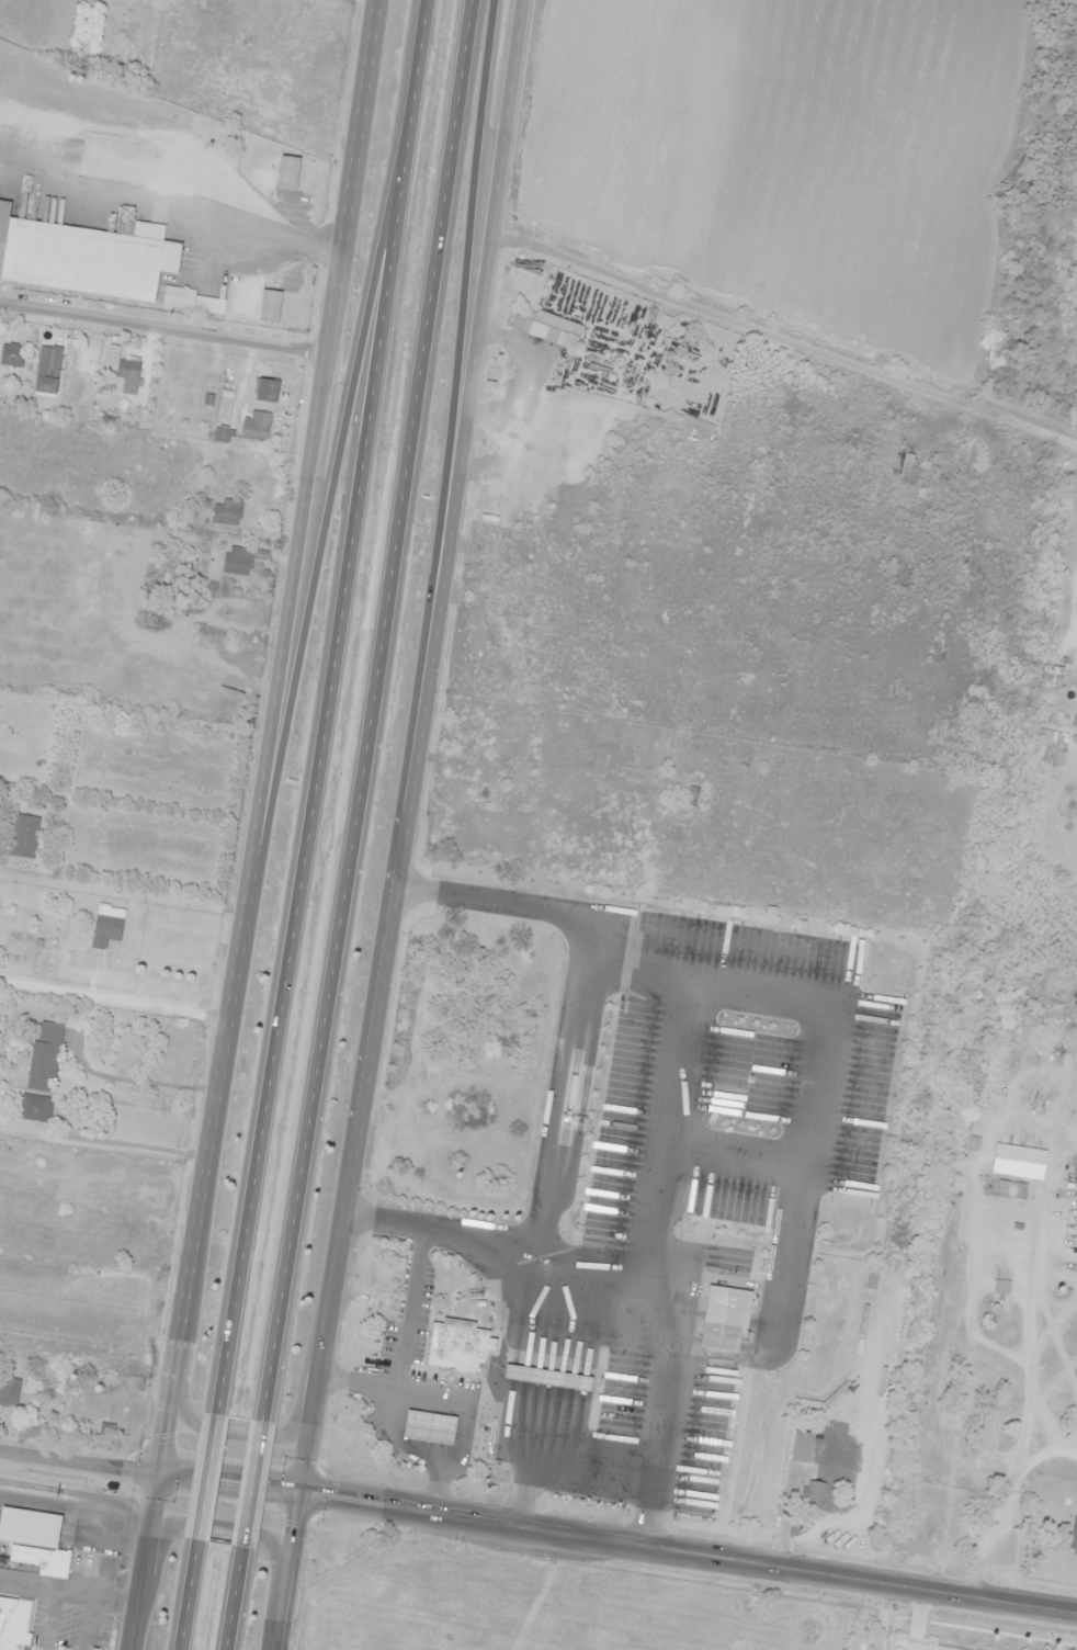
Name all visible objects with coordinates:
building: (288, 172)
road: (468, 236)
building: (86, 257)
building: (193, 302)
building: (270, 306)
building: (546, 328)
road: (162, 329)
building: (11, 355)
building: (47, 371)
building: (128, 372)
building: (268, 391)
building: (75, 399)
building: (256, 427)
building: (222, 434)
building: (906, 465)
road: (331, 498)
building: (226, 512)
building: (241, 560)
building: (152, 608)
building: (1052, 677)
road: (326, 705)
road: (370, 712)
building: (1058, 753)
building: (692, 796)
road: (260, 825)
road: (406, 825)
building: (22, 836)
building: (481, 903)
building: (106, 926)
building: (483, 935)
building: (44, 1056)
building: (34, 1108)
building: (505, 1137)
building: (460, 1141)
building: (971, 1144)
building: (1014, 1162)
building: (432, 1167)
building: (1010, 1190)
building: (20, 1211)
building: (121, 1244)
building: (1001, 1288)
building: (719, 1338)
building: (456, 1348)
building: (542, 1378)
building: (47, 1401)
building: (430, 1429)
road: (239, 1432)
building: (984, 1440)
building: (802, 1448)
road: (79, 1460)
traffic signals: (159, 1472)
road: (208, 1476)
road: (253, 1483)
traffic signals: (299, 1493)
building: (814, 1498)
road: (220, 1526)
building: (1074, 1535)
building: (34, 1541)
road: (617, 1541)
road: (190, 1595)
road: (236, 1595)
building: (13, 1623)

